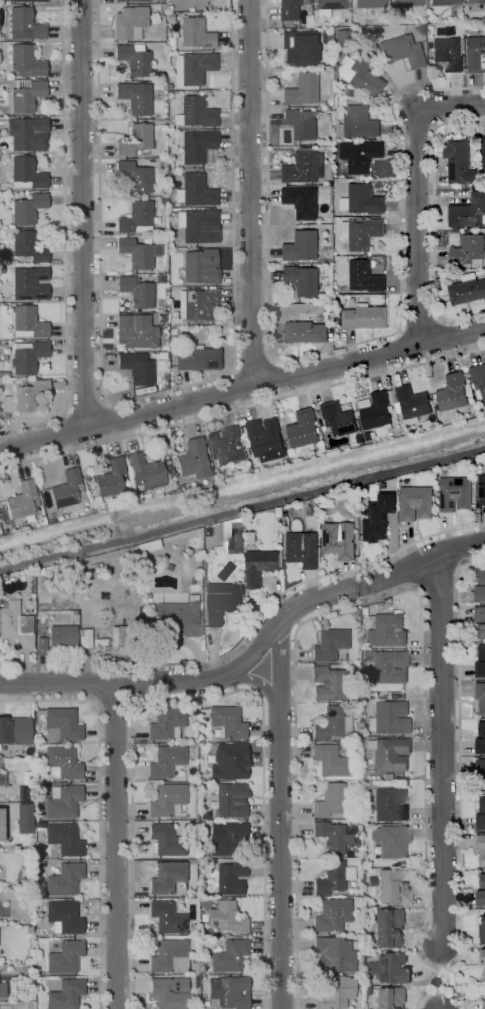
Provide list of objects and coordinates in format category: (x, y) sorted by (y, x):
building: (29, 0)
building: (129, 0)
building: (475, 1)
building: (443, 2)
building: (368, 3)
building: (188, 4)
building: (329, 4)
building: (405, 5)
building: (168, 8)
building: (287, 9)
building: (161, 10)
building: (424, 20)
building: (129, 23)
building: (24, 24)
building: (460, 25)
building: (195, 33)
building: (342, 37)
building: (170, 45)
building: (298, 47)
building: (400, 51)
building: (448, 53)
building: (476, 54)
building: (134, 59)
building: (25, 62)
building: (196, 66)
building: (358, 74)
building: (300, 89)
building: (347, 93)
building: (25, 95)
building: (135, 97)
building: (195, 112)
building: (301, 123)
building: (357, 123)
building: (26, 134)
building: (134, 139)
building: (198, 147)
building: (483, 154)
building: (359, 156)
building: (459, 162)
building: (304, 168)
building: (26, 173)
building: (134, 176)
road: (415, 190)
building: (194, 191)
road: (249, 193)
building: (362, 200)
building: (162, 201)
building: (302, 201)
building: (27, 208)
building: (468, 212)
road: (81, 214)
building: (135, 218)
road: (434, 220)
building: (198, 226)
building: (362, 233)
road: (64, 240)
building: (27, 246)
building: (302, 247)
building: (469, 250)
building: (135, 253)
building: (200, 266)
building: (364, 278)
building: (303, 281)
building: (29, 283)
building: (466, 290)
building: (136, 292)
building: (195, 304)
building: (327, 308)
building: (365, 317)
road: (420, 319)
building: (27, 323)
building: (135, 331)
building: (173, 331)
building: (303, 332)
road: (450, 335)
road: (402, 349)
road: (322, 351)
building: (26, 356)
building: (108, 356)
building: (198, 359)
road: (253, 365)
building: (136, 368)
building: (4, 374)
building: (163, 376)
road: (274, 380)
building: (478, 380)
road: (242, 390)
road: (155, 393)
building: (453, 393)
road: (228, 394)
building: (24, 397)
building: (411, 405)
road: (242, 408)
road: (86, 409)
building: (376, 412)
building: (339, 419)
road: (111, 422)
building: (304, 429)
road: (69, 431)
building: (368, 436)
building: (359, 439)
building: (265, 440)
building: (226, 447)
building: (192, 460)
building: (145, 471)
building: (85, 477)
building: (110, 478)
building: (67, 490)
building: (482, 490)
building: (455, 494)
building: (22, 500)
building: (327, 502)
building: (416, 503)
road: (242, 509)
building: (378, 519)
building: (205, 531)
building: (213, 531)
building: (236, 538)
building: (338, 540)
building: (148, 546)
building: (302, 549)
building: (167, 566)
building: (259, 567)
building: (49, 568)
building: (40, 571)
building: (32, 576)
building: (481, 577)
building: (192, 581)
building: (480, 594)
building: (145, 595)
building: (194, 598)
building: (223, 602)
building: (362, 611)
building: (479, 614)
building: (178, 618)
building: (15, 624)
road: (250, 630)
building: (386, 631)
building: (481, 631)
building: (119, 635)
building: (62, 637)
building: (84, 638)
building: (98, 641)
building: (329, 644)
building: (40, 646)
road: (253, 652)
building: (481, 653)
building: (386, 665)
building: (480, 670)
road: (139, 681)
road: (261, 681)
road: (96, 682)
building: (326, 683)
building: (349, 694)
building: (480, 697)
road: (201, 699)
road: (113, 702)
building: (387, 718)
building: (227, 721)
building: (166, 723)
building: (61, 724)
building: (331, 724)
building: (482, 729)
building: (14, 730)
building: (480, 746)
building: (37, 748)
road: (442, 752)
building: (389, 754)
road: (424, 754)
building: (329, 760)
building: (165, 761)
building: (62, 762)
building: (229, 762)
building: (480, 767)
building: (2, 779)
building: (480, 784)
building: (24, 794)
building: (230, 799)
building: (166, 800)
building: (333, 800)
building: (62, 801)
building: (389, 805)
building: (481, 805)
road: (99, 807)
building: (357, 814)
road: (279, 816)
building: (24, 818)
building: (351, 821)
building: (480, 822)
building: (0, 826)
building: (331, 837)
building: (225, 838)
building: (64, 839)
building: (166, 840)
building: (390, 841)
road: (115, 846)
building: (481, 848)
building: (192, 851)
building: (484, 869)
building: (166, 876)
building: (230, 877)
building: (332, 878)
building: (64, 879)
building: (29, 881)
building: (482, 881)
building: (391, 888)
building: (39, 896)
building: (481, 898)
building: (331, 915)
building: (63, 917)
building: (166, 917)
building: (225, 917)
building: (386, 928)
building: (482, 930)
building: (211, 933)
building: (332, 954)
building: (168, 956)
building: (229, 956)
building: (64, 957)
building: (482, 957)
building: (359, 960)
building: (387, 968)
building: (484, 974)
road: (447, 977)
building: (192, 981)
road: (440, 988)
building: (2, 989)
building: (228, 991)
building: (365, 991)
building: (169, 992)
building: (333, 992)
building: (65, 994)
building: (387, 998)
building: (484, 1005)

